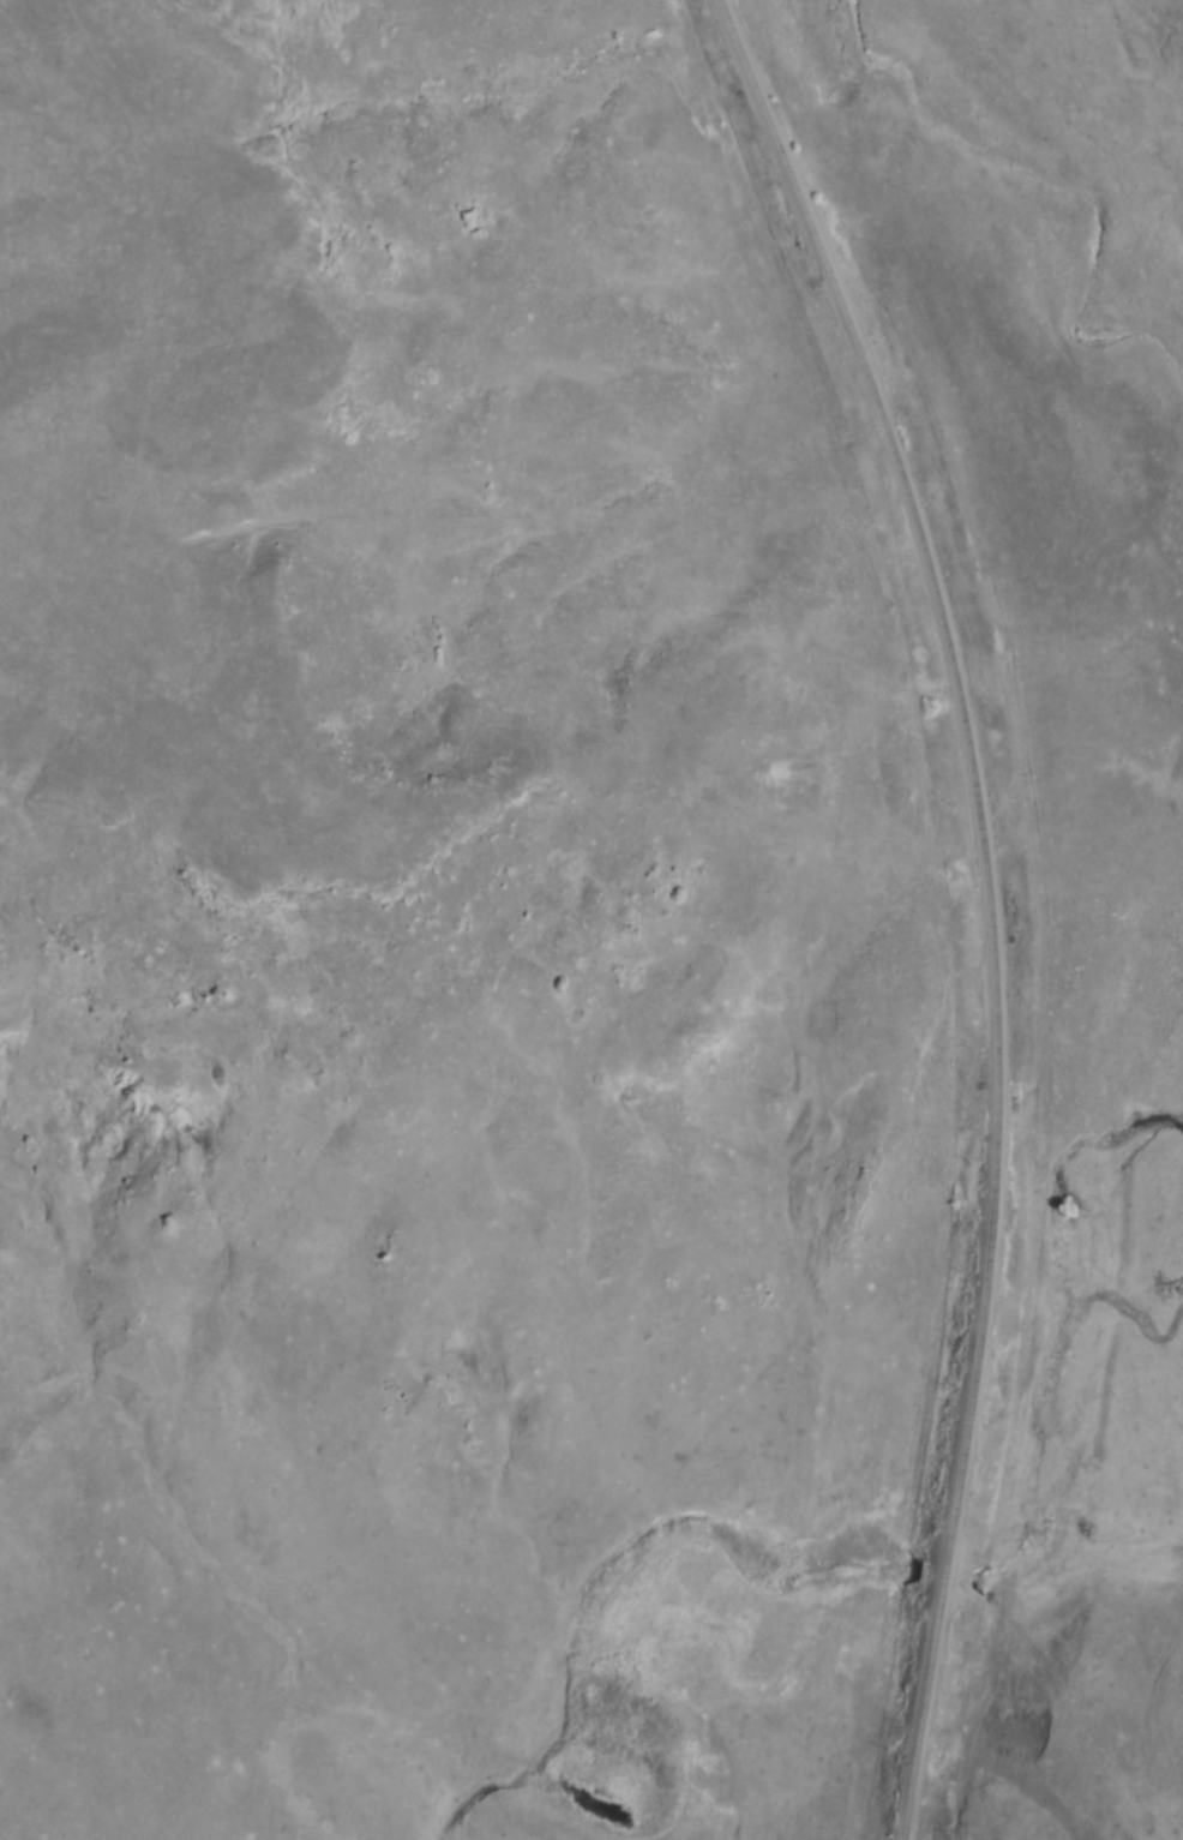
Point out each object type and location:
railway: (989, 901)

